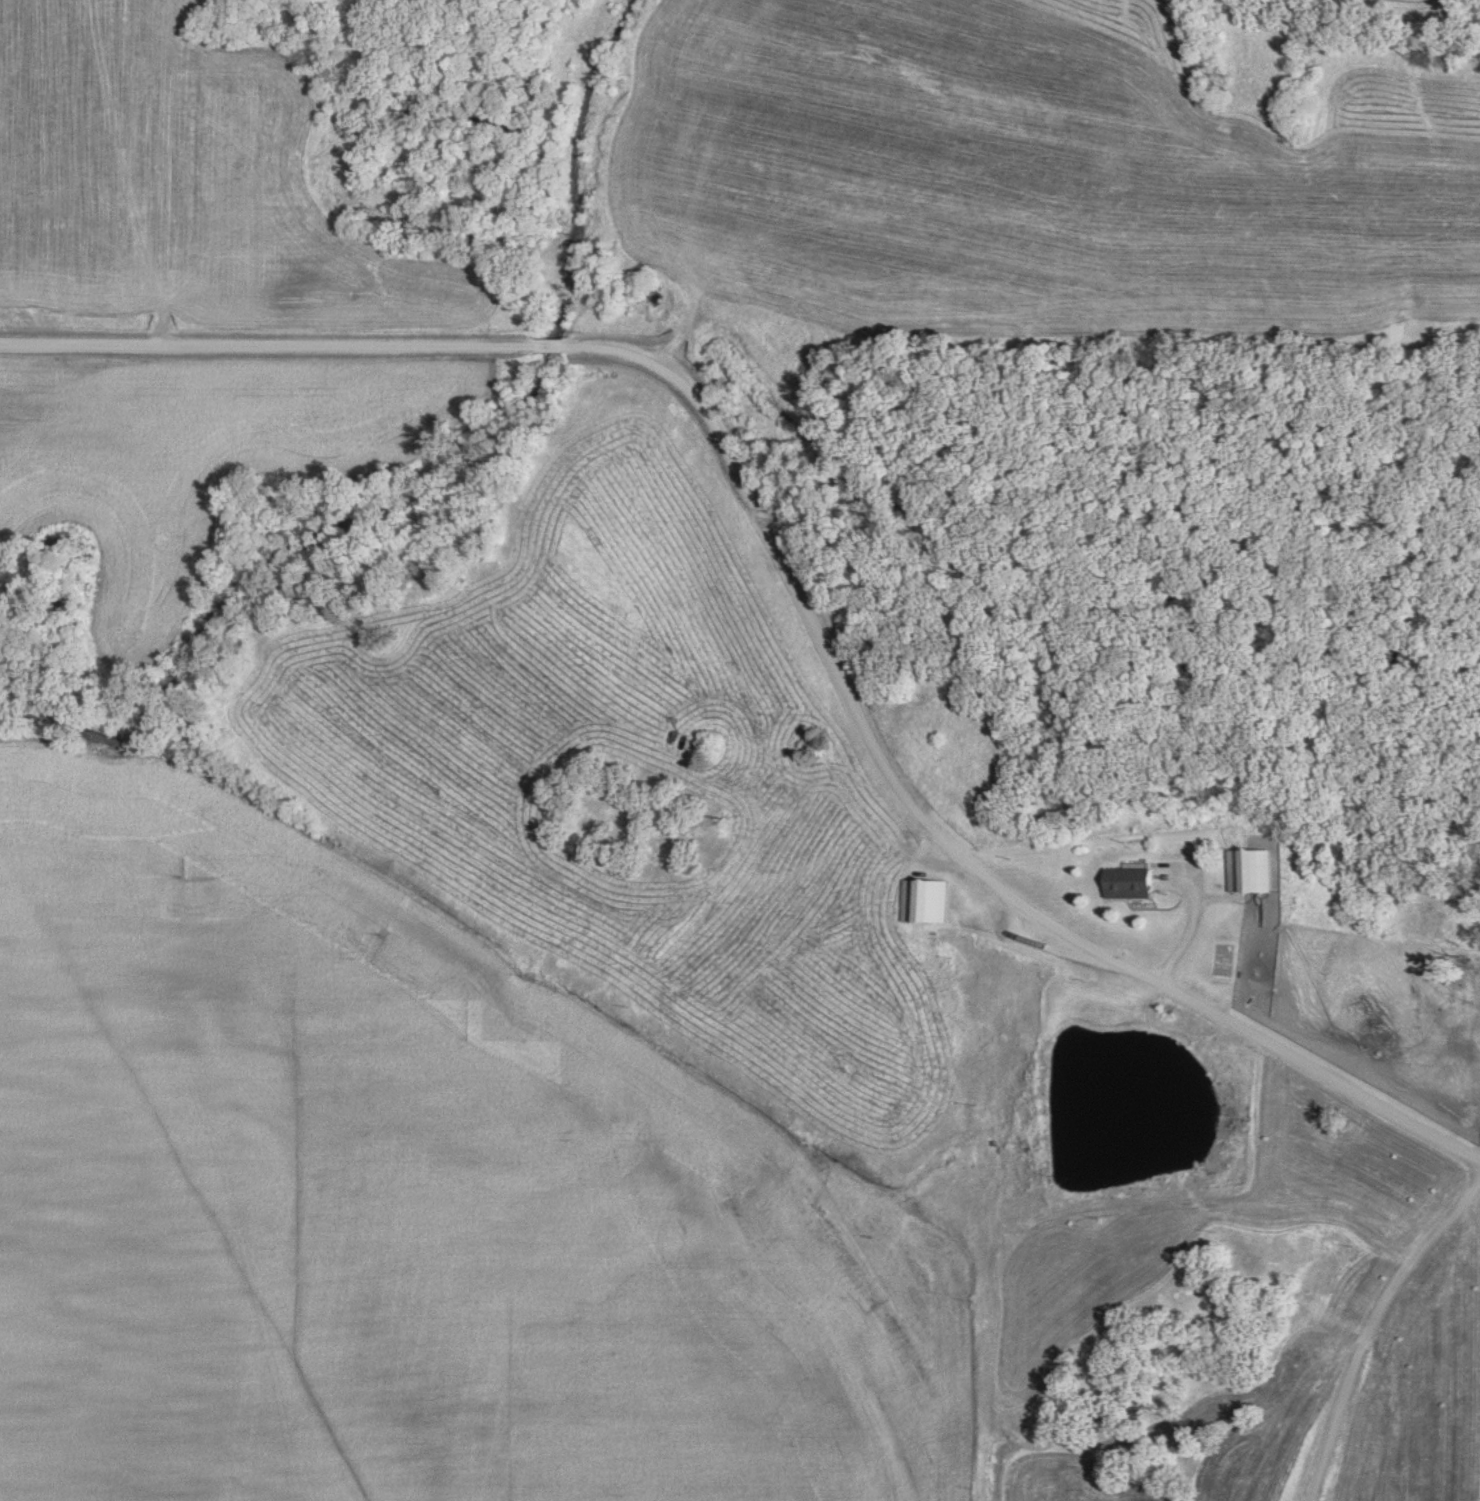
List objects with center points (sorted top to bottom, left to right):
road: (796, 580)
building: (1247, 870)
building: (1124, 883)
building: (920, 896)
road: (1373, 1331)

